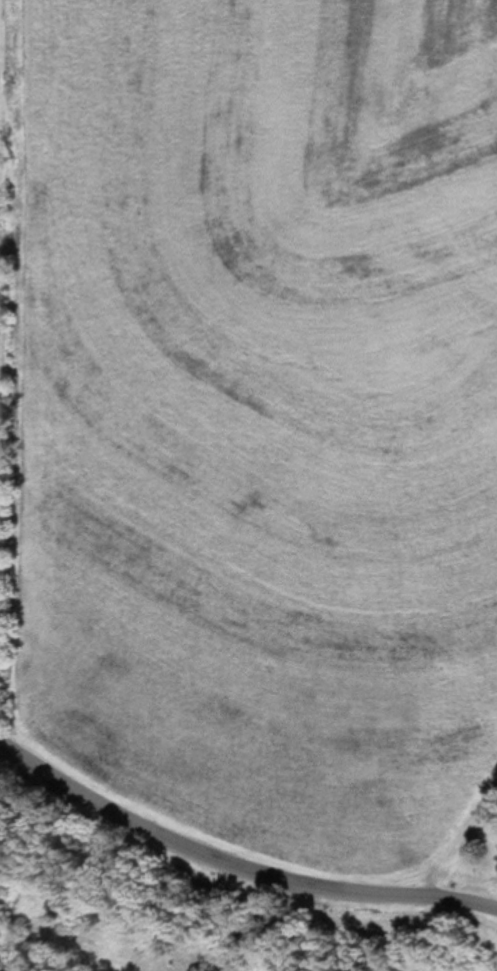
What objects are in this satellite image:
road: (237, 864)

